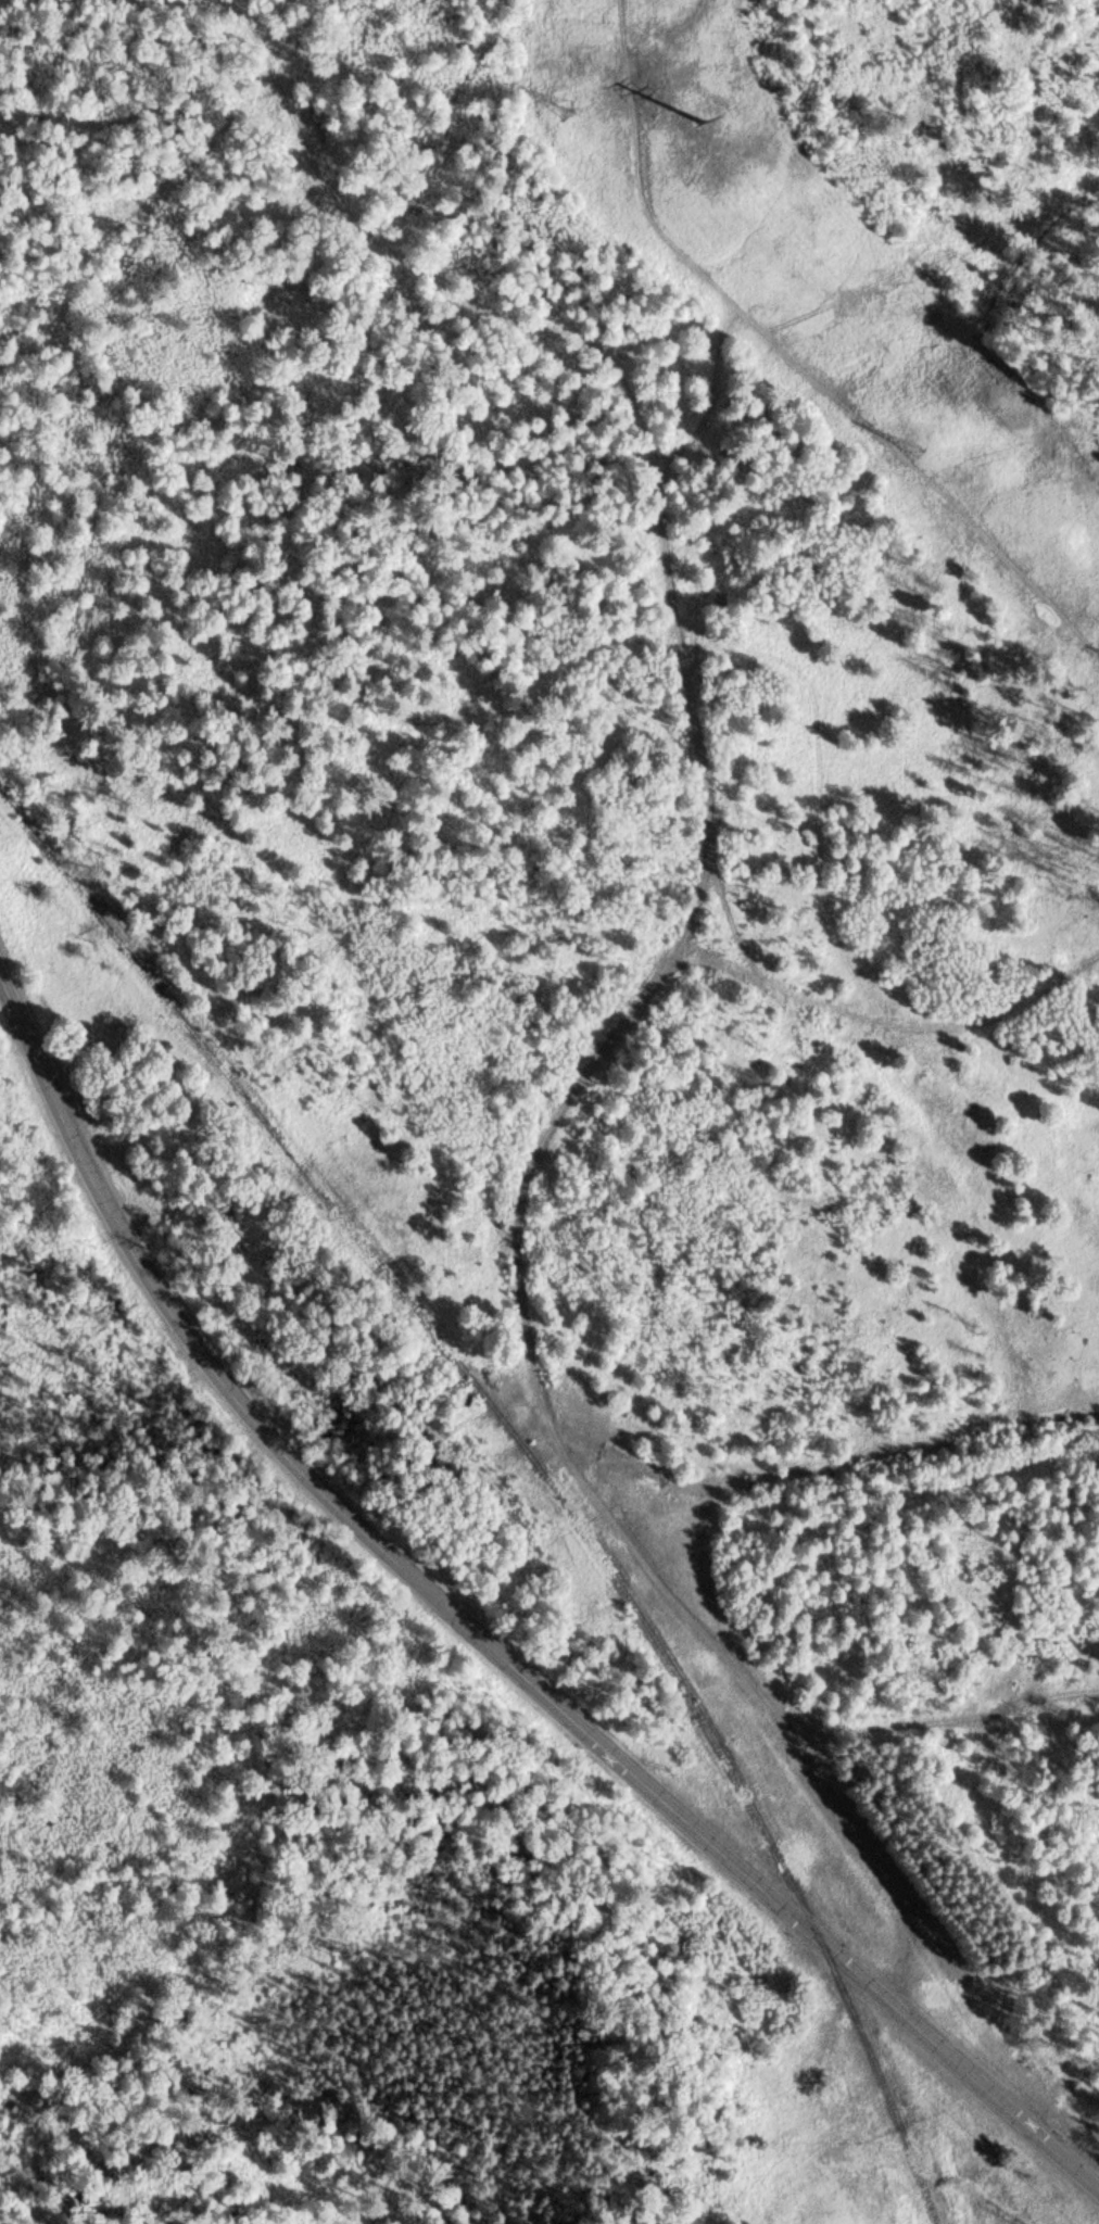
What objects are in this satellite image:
power tower: (572, 112)
power tower: (730, 130)
power tower: (921, 448)
road: (561, 1435)
railway: (538, 1466)
road: (482, 1634)

